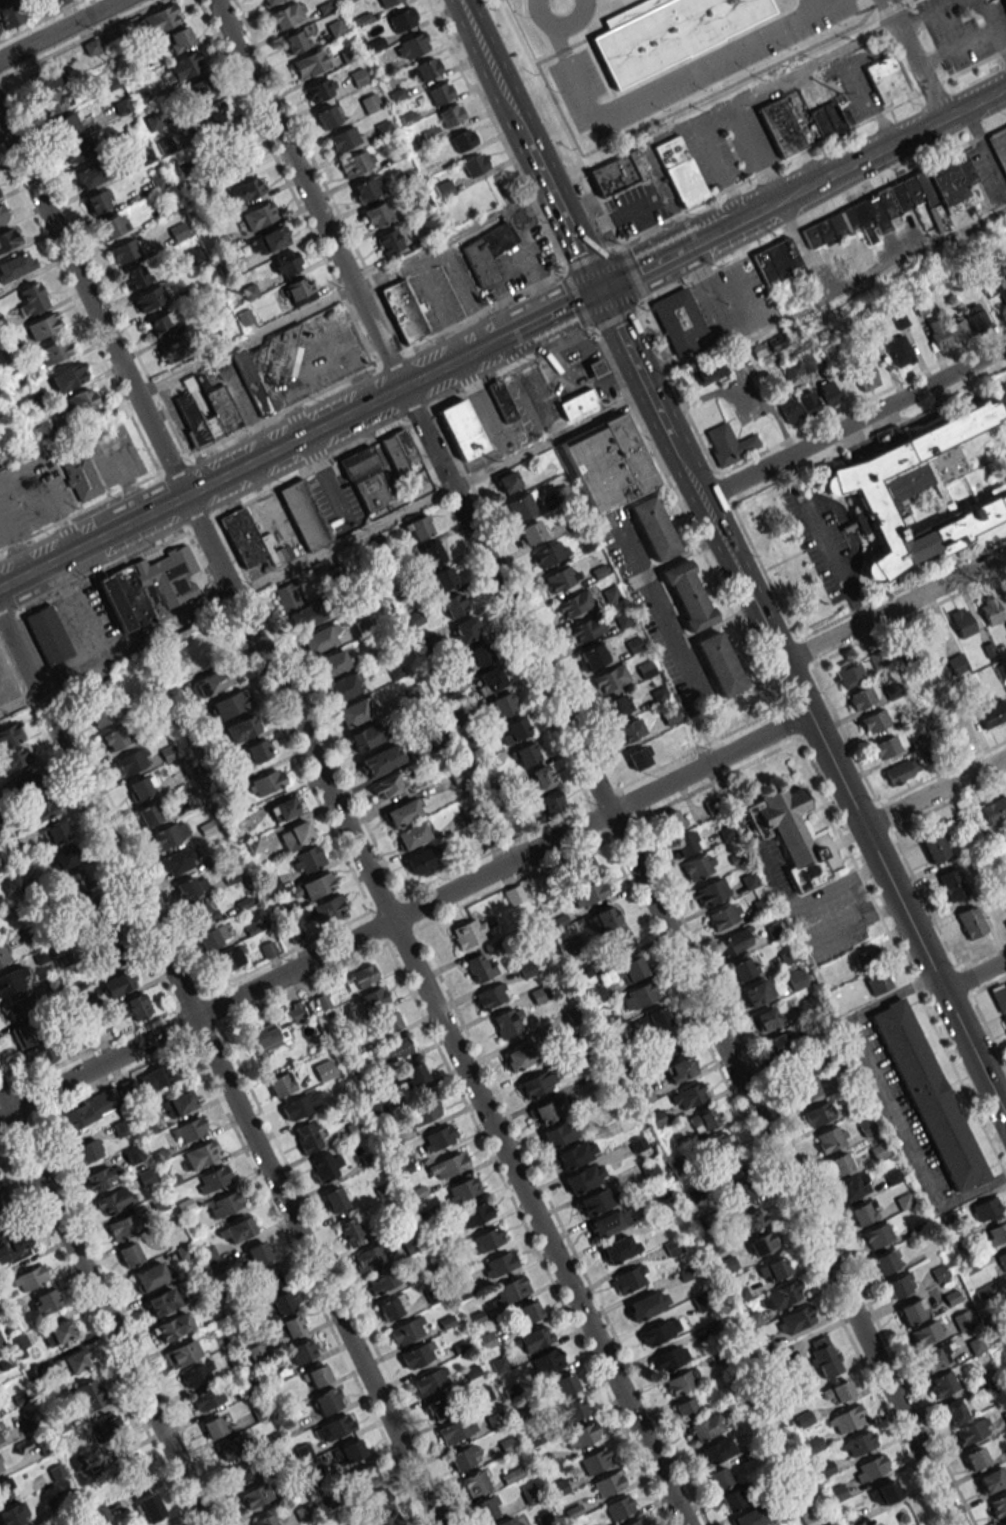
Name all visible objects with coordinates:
road: (774, 0)
building: (1005, 0)
building: (268, 2)
building: (387, 3)
road: (614, 5)
road: (813, 5)
road: (779, 12)
road: (924, 12)
road: (893, 13)
building: (288, 14)
building: (10, 15)
building: (402, 19)
building: (158, 20)
road: (993, 25)
road: (558, 27)
road: (61, 30)
building: (667, 32)
building: (178, 39)
road: (547, 41)
building: (295, 42)
building: (414, 44)
road: (956, 46)
building: (91, 47)
road: (588, 47)
road: (542, 58)
building: (310, 64)
building: (185, 65)
building: (427, 68)
parking lot: (685, 68)
road: (921, 73)
building: (44, 79)
road: (672, 80)
building: (886, 80)
road: (769, 81)
building: (320, 89)
building: (200, 91)
road: (867, 91)
building: (439, 93)
building: (55, 100)
building: (370, 103)
building: (212, 114)
building: (450, 114)
building: (329, 115)
building: (831, 117)
road: (560, 122)
building: (66, 125)
building: (383, 128)
building: (343, 139)
building: (462, 140)
building: (998, 145)
road: (887, 147)
building: (76, 149)
building: (232, 151)
building: (357, 163)
building: (475, 164)
building: (680, 170)
building: (85, 176)
building: (615, 176)
building: (366, 188)
building: (444, 189)
building: (246, 190)
building: (98, 201)
building: (891, 204)
building: (981, 206)
building: (2, 213)
building: (377, 214)
building: (259, 215)
building: (113, 225)
building: (178, 231)
building: (8, 238)
building: (268, 241)
building: (388, 241)
road: (684, 248)
building: (123, 251)
building: (195, 253)
building: (487, 253)
building: (776, 261)
building: (286, 263)
building: (16, 266)
road: (527, 267)
building: (136, 276)
road: (544, 286)
traffic signals: (599, 290)
building: (298, 291)
road: (342, 291)
building: (1002, 292)
building: (32, 298)
building: (149, 298)
road: (826, 300)
building: (404, 311)
road: (555, 312)
building: (974, 318)
building: (678, 320)
building: (161, 324)
building: (43, 326)
building: (956, 328)
building: (937, 334)
building: (779, 343)
building: (898, 348)
building: (55, 351)
building: (173, 351)
building: (759, 351)
building: (800, 366)
building: (268, 367)
building: (598, 368)
building: (710, 372)
building: (865, 376)
building: (68, 377)
building: (828, 393)
building: (79, 401)
building: (501, 401)
building: (578, 403)
building: (808, 403)
building: (221, 406)
building: (789, 410)
road: (854, 422)
building: (462, 429)
building: (41, 430)
building: (886, 435)
building: (729, 444)
building: (399, 451)
road: (15, 452)
road: (996, 456)
road: (255, 461)
building: (608, 463)
building: (80, 477)
building: (366, 478)
building: (508, 481)
road: (441, 494)
building: (882, 494)
building: (556, 496)
building: (522, 505)
building: (304, 514)
building: (419, 527)
building: (654, 528)
building: (531, 531)
building: (243, 538)
road: (823, 540)
building: (432, 552)
building: (550, 553)
road: (680, 553)
road: (733, 560)
building: (561, 578)
building: (444, 579)
building: (149, 587)
building: (688, 595)
building: (574, 603)
building: (453, 605)
building: (299, 606)
road: (894, 607)
building: (991, 611)
road: (657, 614)
building: (961, 622)
building: (1005, 624)
building: (584, 629)
building: (465, 630)
building: (48, 635)
building: (320, 638)
building: (203, 647)
building: (914, 650)
building: (478, 656)
building: (592, 656)
building: (333, 662)
building: (719, 664)
building: (956, 664)
road: (93, 668)
building: (849, 673)
building: (610, 678)
building: (489, 680)
building: (212, 681)
parking lot: (7, 684)
building: (342, 688)
building: (448, 692)
building: (861, 697)
building: (228, 704)
building: (501, 705)
building: (617, 706)
building: (104, 707)
building: (355, 711)
building: (992, 714)
building: (873, 721)
building: (241, 728)
building: (515, 730)
building: (630, 730)
building: (958, 731)
building: (11, 735)
building: (365, 736)
building: (114, 738)
building: (885, 747)
building: (257, 750)
building: (526, 754)
building: (640, 757)
building: (15, 758)
building: (380, 759)
building: (132, 761)
road: (585, 762)
building: (901, 770)
building: (542, 777)
building: (33, 782)
building: (266, 782)
building: (387, 786)
building: (141, 787)
road: (934, 793)
building: (552, 802)
building: (282, 809)
building: (994, 810)
building: (35, 812)
building: (402, 813)
building: (149, 814)
road: (342, 821)
building: (672, 821)
building: (56, 833)
building: (788, 834)
building: (169, 835)
building: (296, 836)
building: (411, 836)
building: (684, 843)
building: (934, 846)
building: (65, 857)
building: (307, 859)
building: (180, 860)
building: (420, 863)
building: (698, 866)
building: (581, 869)
building: (75, 882)
building: (952, 884)
building: (317, 885)
road: (771, 886)
building: (191, 887)
building: (591, 891)
building: (710, 892)
building: (513, 895)
building: (327, 907)
building: (89, 910)
building: (202, 911)
road: (403, 914)
building: (725, 915)
building: (604, 919)
building: (970, 922)
building: (469, 932)
road: (833, 936)
building: (212, 937)
building: (736, 940)
building: (622, 943)
building: (100, 952)
building: (4, 955)
road: (899, 958)
building: (227, 960)
building: (479, 967)
building: (742, 968)
building: (630, 970)
road: (974, 975)
building: (360, 977)
building: (12, 979)
building: (797, 979)
building: (119, 983)
building: (878, 983)
building: (756, 992)
building: (639, 995)
building: (376, 996)
building: (490, 996)
building: (999, 996)
building: (137, 1007)
building: (16, 1010)
building: (296, 1013)
building: (766, 1018)
building: (654, 1020)
building: (1004, 1020)
building: (389, 1021)
building: (508, 1022)
building: (267, 1036)
building: (32, 1044)
building: (664, 1045)
building: (776, 1045)
building: (393, 1050)
building: (520, 1057)
building: (791, 1068)
road: (219, 1069)
building: (678, 1069)
building: (414, 1074)
building: (156, 1077)
building: (537, 1083)
building: (280, 1084)
building: (805, 1090)
building: (687, 1095)
building: (930, 1097)
building: (178, 1103)
road: (889, 1103)
building: (301, 1105)
building: (377, 1108)
building: (88, 1110)
building: (422, 1111)
building: (545, 1111)
building: (816, 1115)
building: (705, 1118)
building: (189, 1130)
building: (558, 1134)
building: (309, 1136)
building: (437, 1138)
building: (829, 1138)
building: (718, 1142)
building: (86, 1151)
building: (199, 1155)
building: (573, 1155)
building: (839, 1163)
building: (447, 1165)
building: (326, 1166)
building: (731, 1167)
building: (103, 1178)
building: (212, 1179)
building: (582, 1179)
building: (849, 1188)
building: (461, 1190)
building: (740, 1192)
building: (336, 1199)
building: (114, 1201)
building: (596, 1201)
building: (5, 1202)
building: (225, 1204)
building: (986, 1208)
building: (864, 1212)
building: (474, 1214)
building: (751, 1219)
building: (608, 1223)
building: (123, 1227)
building: (242, 1227)
building: (350, 1232)
building: (998, 1232)
building: (875, 1236)
building: (486, 1239)
building: (761, 1243)
building: (14, 1246)
building: (619, 1248)
building: (258, 1254)
building: (129, 1255)
building: (368, 1257)
building: (1004, 1257)
building: (884, 1262)
building: (499, 1264)
building: (773, 1269)
building: (150, 1276)
building: (30, 1278)
building: (629, 1279)
building: (269, 1280)
building: (380, 1282)
building: (896, 1286)
building: (510, 1290)
building: (781, 1295)
building: (45, 1302)
building: (162, 1302)
building: (646, 1304)
building: (279, 1305)
building: (388, 1309)
road: (103, 1311)
building: (529, 1311)
building: (910, 1312)
building: (795, 1319)
building: (291, 1326)
building: (171, 1327)
building: (408, 1330)
building: (659, 1331)
building: (58, 1332)
building: (925, 1332)
building: (535, 1338)
building: (303, 1350)
building: (184, 1353)
building: (418, 1355)
building: (824, 1356)
building: (934, 1357)
building: (669, 1358)
building: (73, 1362)
building: (547, 1362)
building: (196, 1373)
building: (317, 1376)
building: (681, 1381)
building: (430, 1382)
building: (943, 1382)
building: (560, 1387)
building: (837, 1392)
building: (90, 1394)
building: (206, 1398)
building: (328, 1401)
building: (440, 1406)
building: (687, 1407)
building: (571, 1409)
building: (954, 1411)
building: (846, 1419)
building: (336, 1426)
building: (108, 1427)
building: (213, 1427)
building: (704, 1427)
building: (455, 1430)
building: (972, 1430)
building: (581, 1435)
building: (0, 1439)
building: (859, 1443)
building: (231, 1448)
building: (717, 1450)
building: (351, 1451)
building: (974, 1458)
building: (460, 1459)
building: (595, 1461)
building: (131, 1465)
building: (1, 1466)
building: (873, 1466)
building: (241, 1473)
building: (514, 1474)
building: (366, 1475)
building: (719, 1477)
building: (989, 1480)
building: (477, 1482)
building: (607, 1484)
building: (6, 1489)
building: (890, 1490)
building: (256, 1496)
building: (376, 1500)
building: (731, 1500)
building: (998, 1506)
building: (147, 1508)
building: (486, 1508)
building: (618, 1508)
building: (13, 1514)
building: (813, 1517)
building: (746, 1518)
building: (268, 1519)
building: (390, 1520)
building: (509, 1521)
building: (633, 1522)
building: (1003, 1523)

